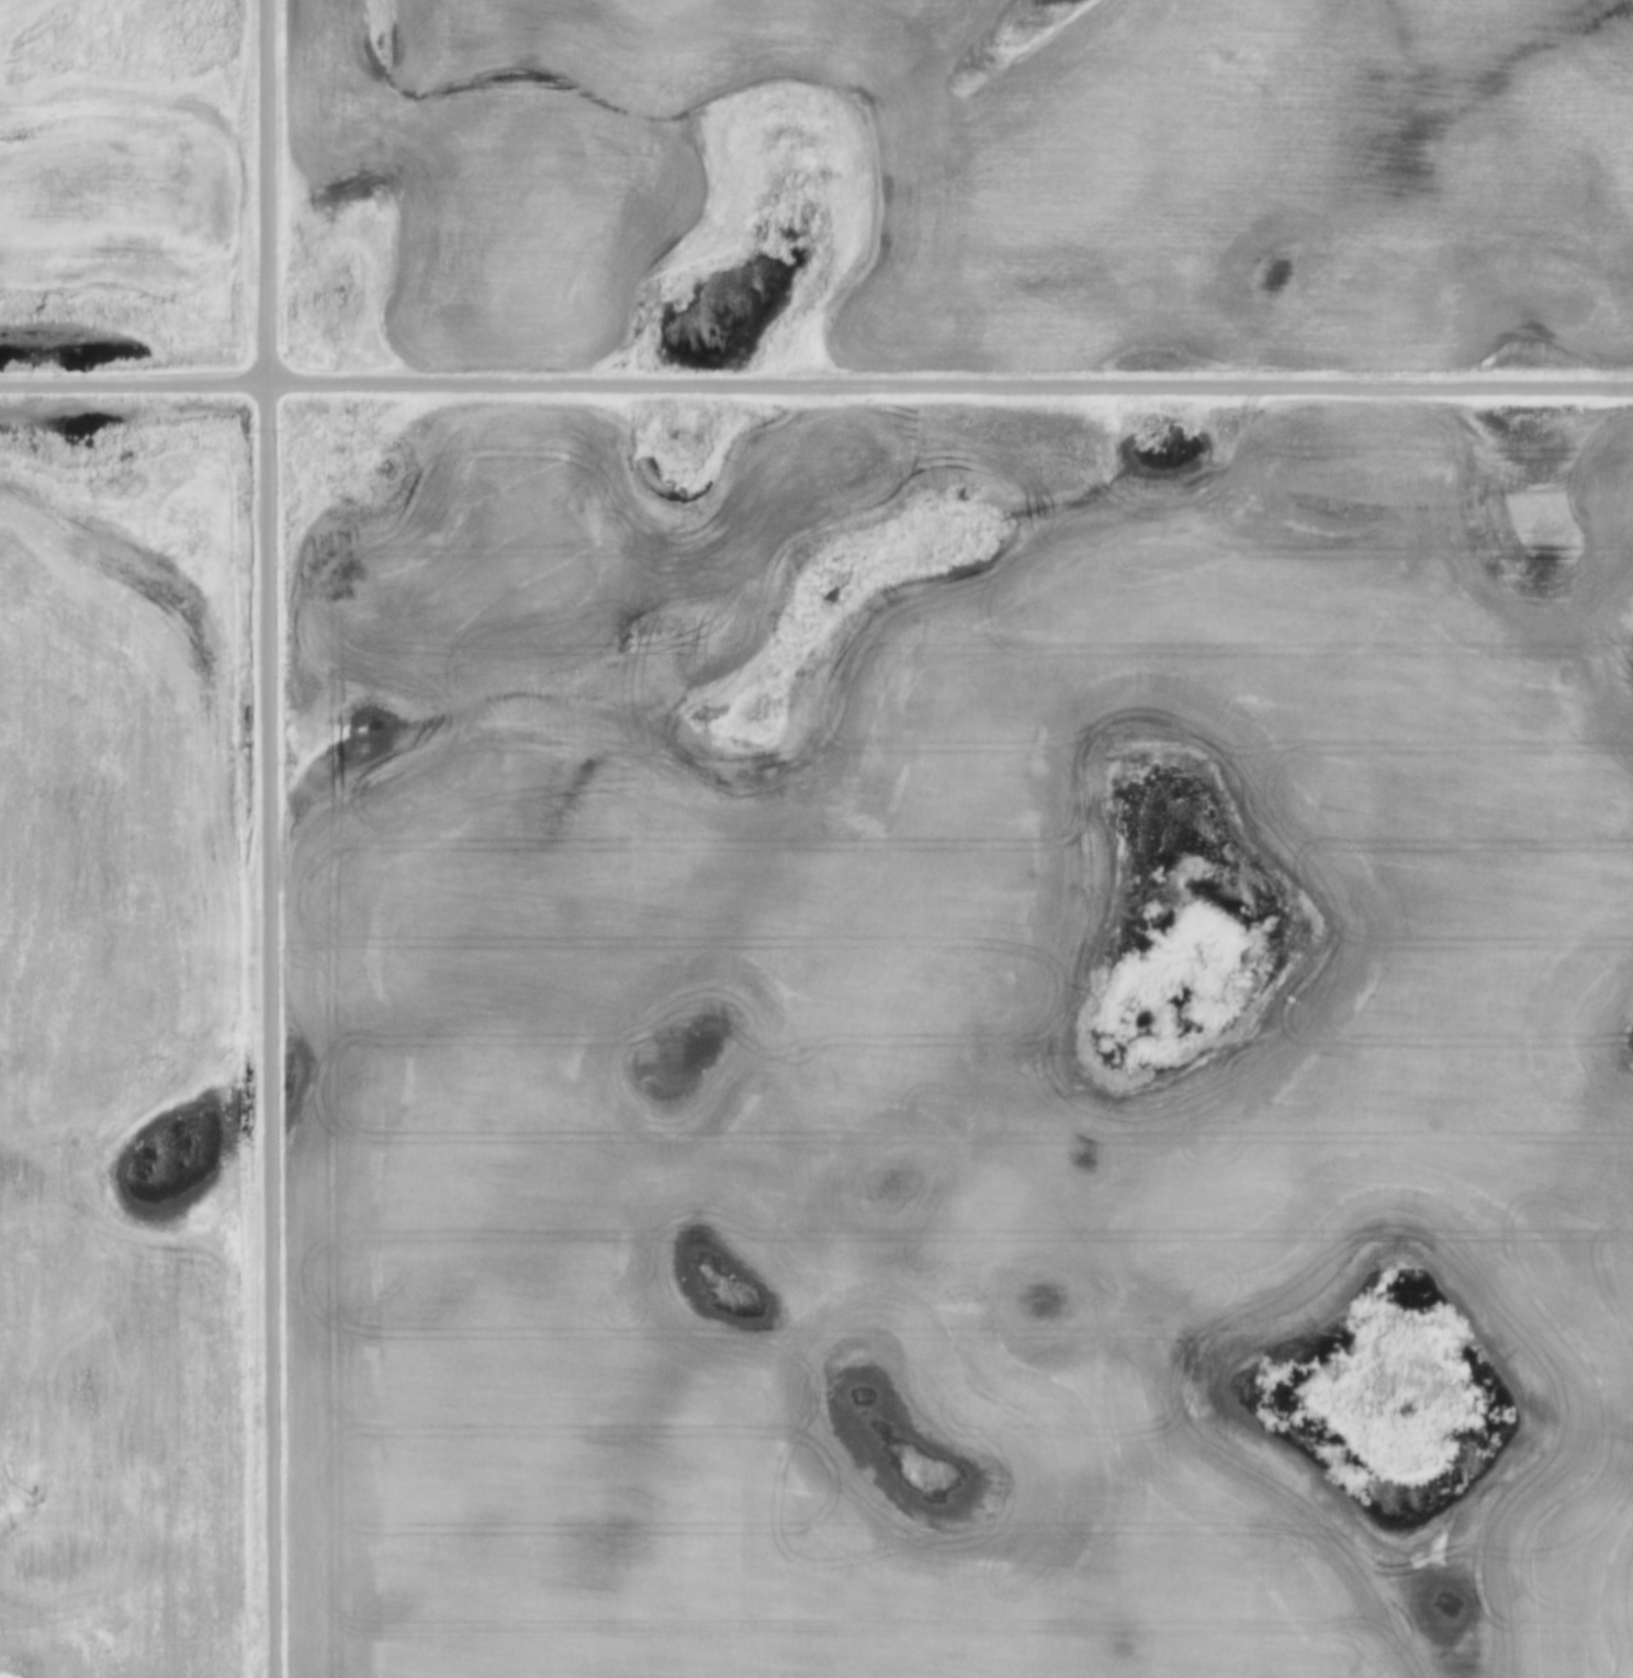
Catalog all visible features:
road: (133, 384)
road: (948, 385)
road: (268, 838)

